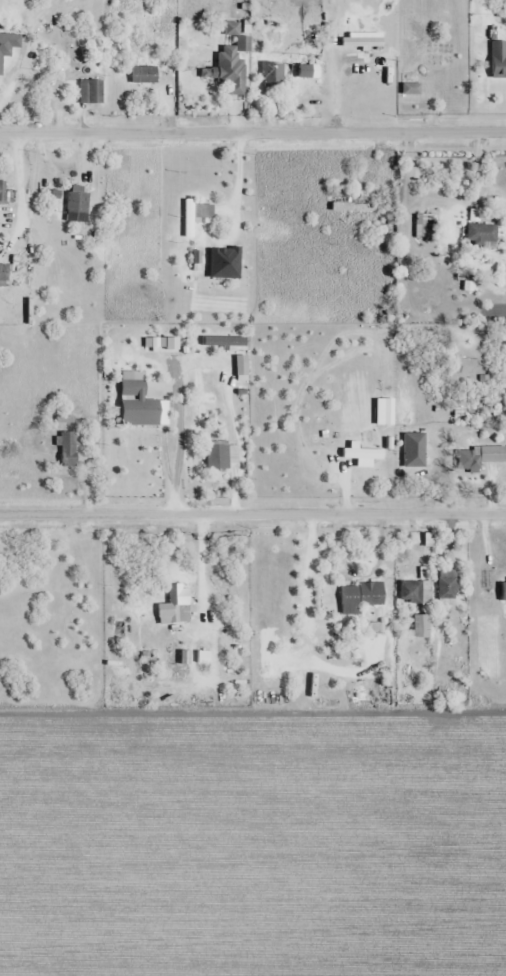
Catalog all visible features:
building: (361, 41)
building: (4, 56)
building: (498, 59)
building: (230, 67)
building: (144, 75)
building: (278, 75)
building: (310, 79)
building: (91, 92)
road: (253, 132)
building: (5, 193)
building: (354, 204)
building: (78, 206)
building: (196, 215)
building: (424, 225)
building: (482, 235)
building: (4, 274)
building: (222, 340)
building: (241, 368)
building: (140, 413)
building: (68, 450)
building: (217, 457)
building: (479, 457)
road: (253, 514)
building: (502, 584)
building: (447, 586)
building: (411, 592)
building: (361, 597)
building: (175, 606)
building: (420, 626)
building: (203, 657)

